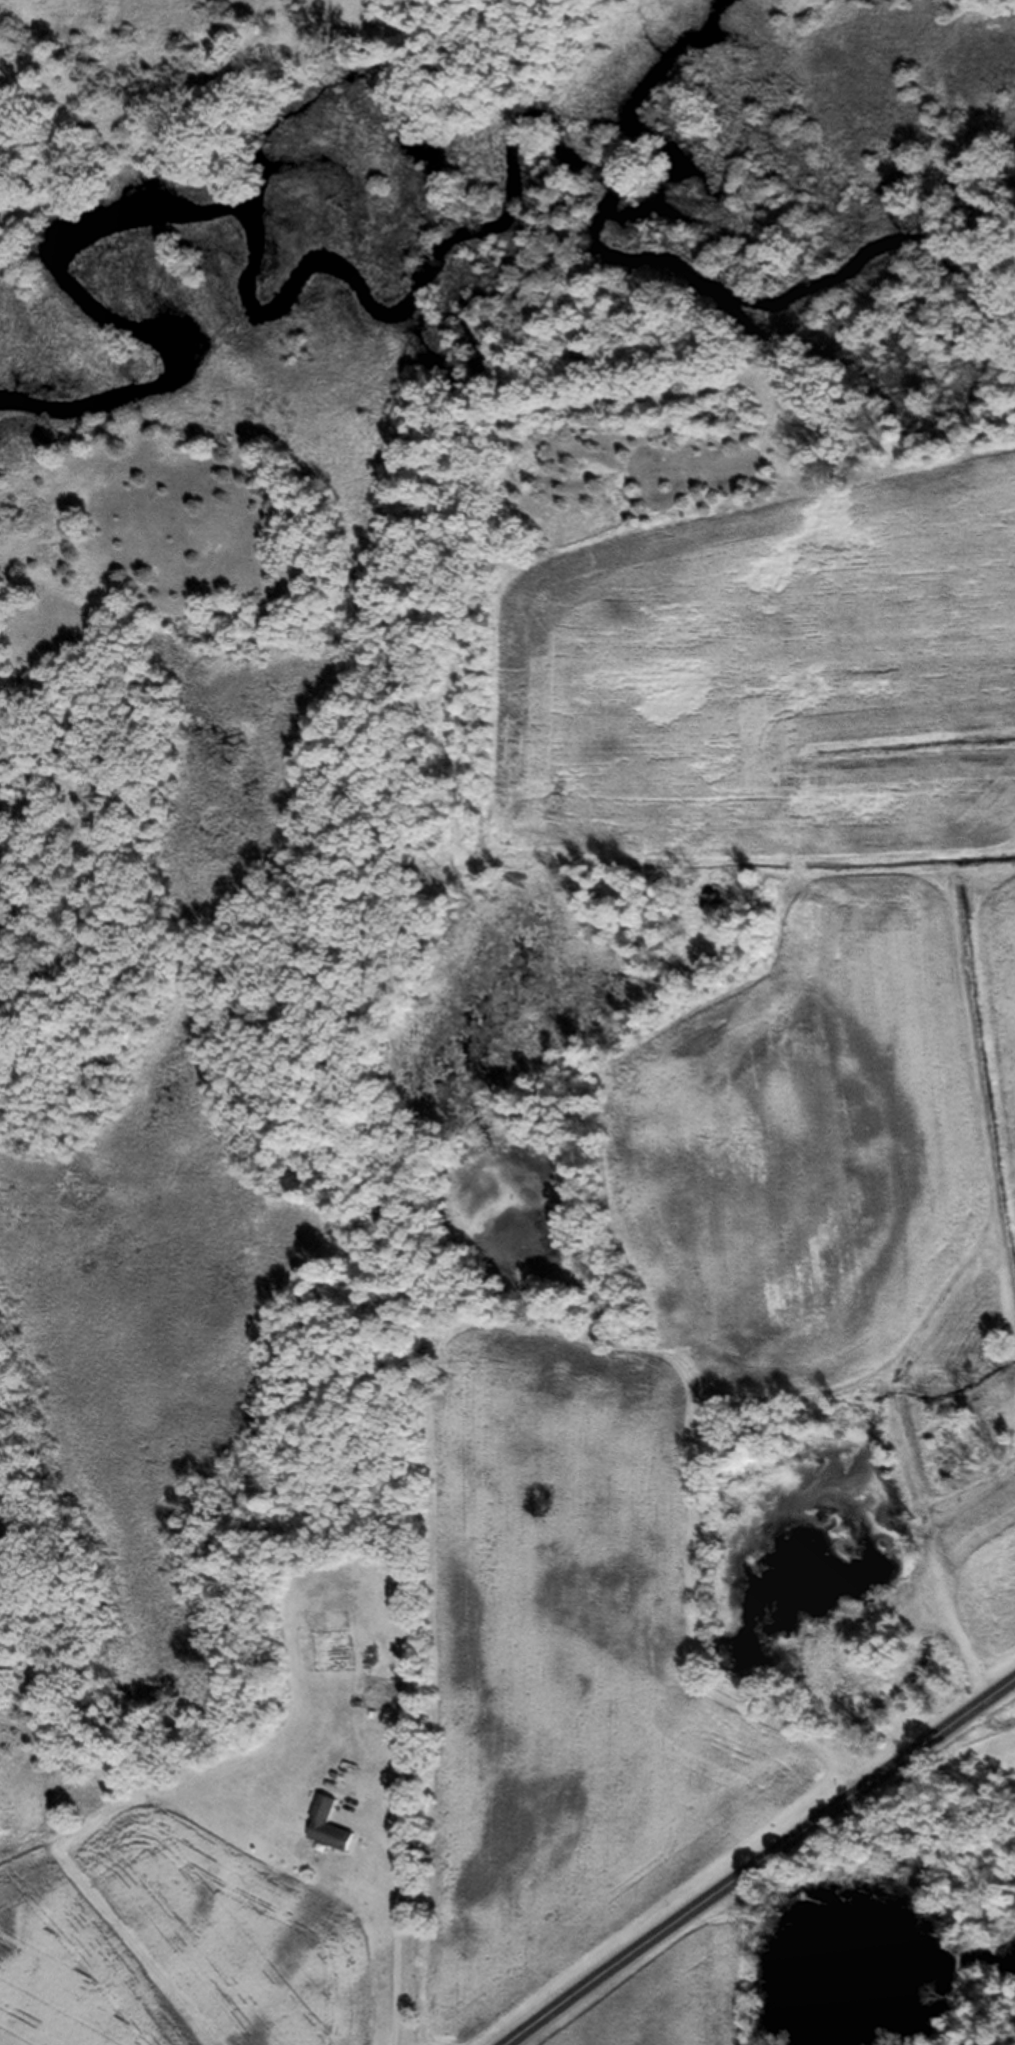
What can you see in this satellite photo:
building: (325, 1832)
road: (760, 1862)
road: (390, 1922)

